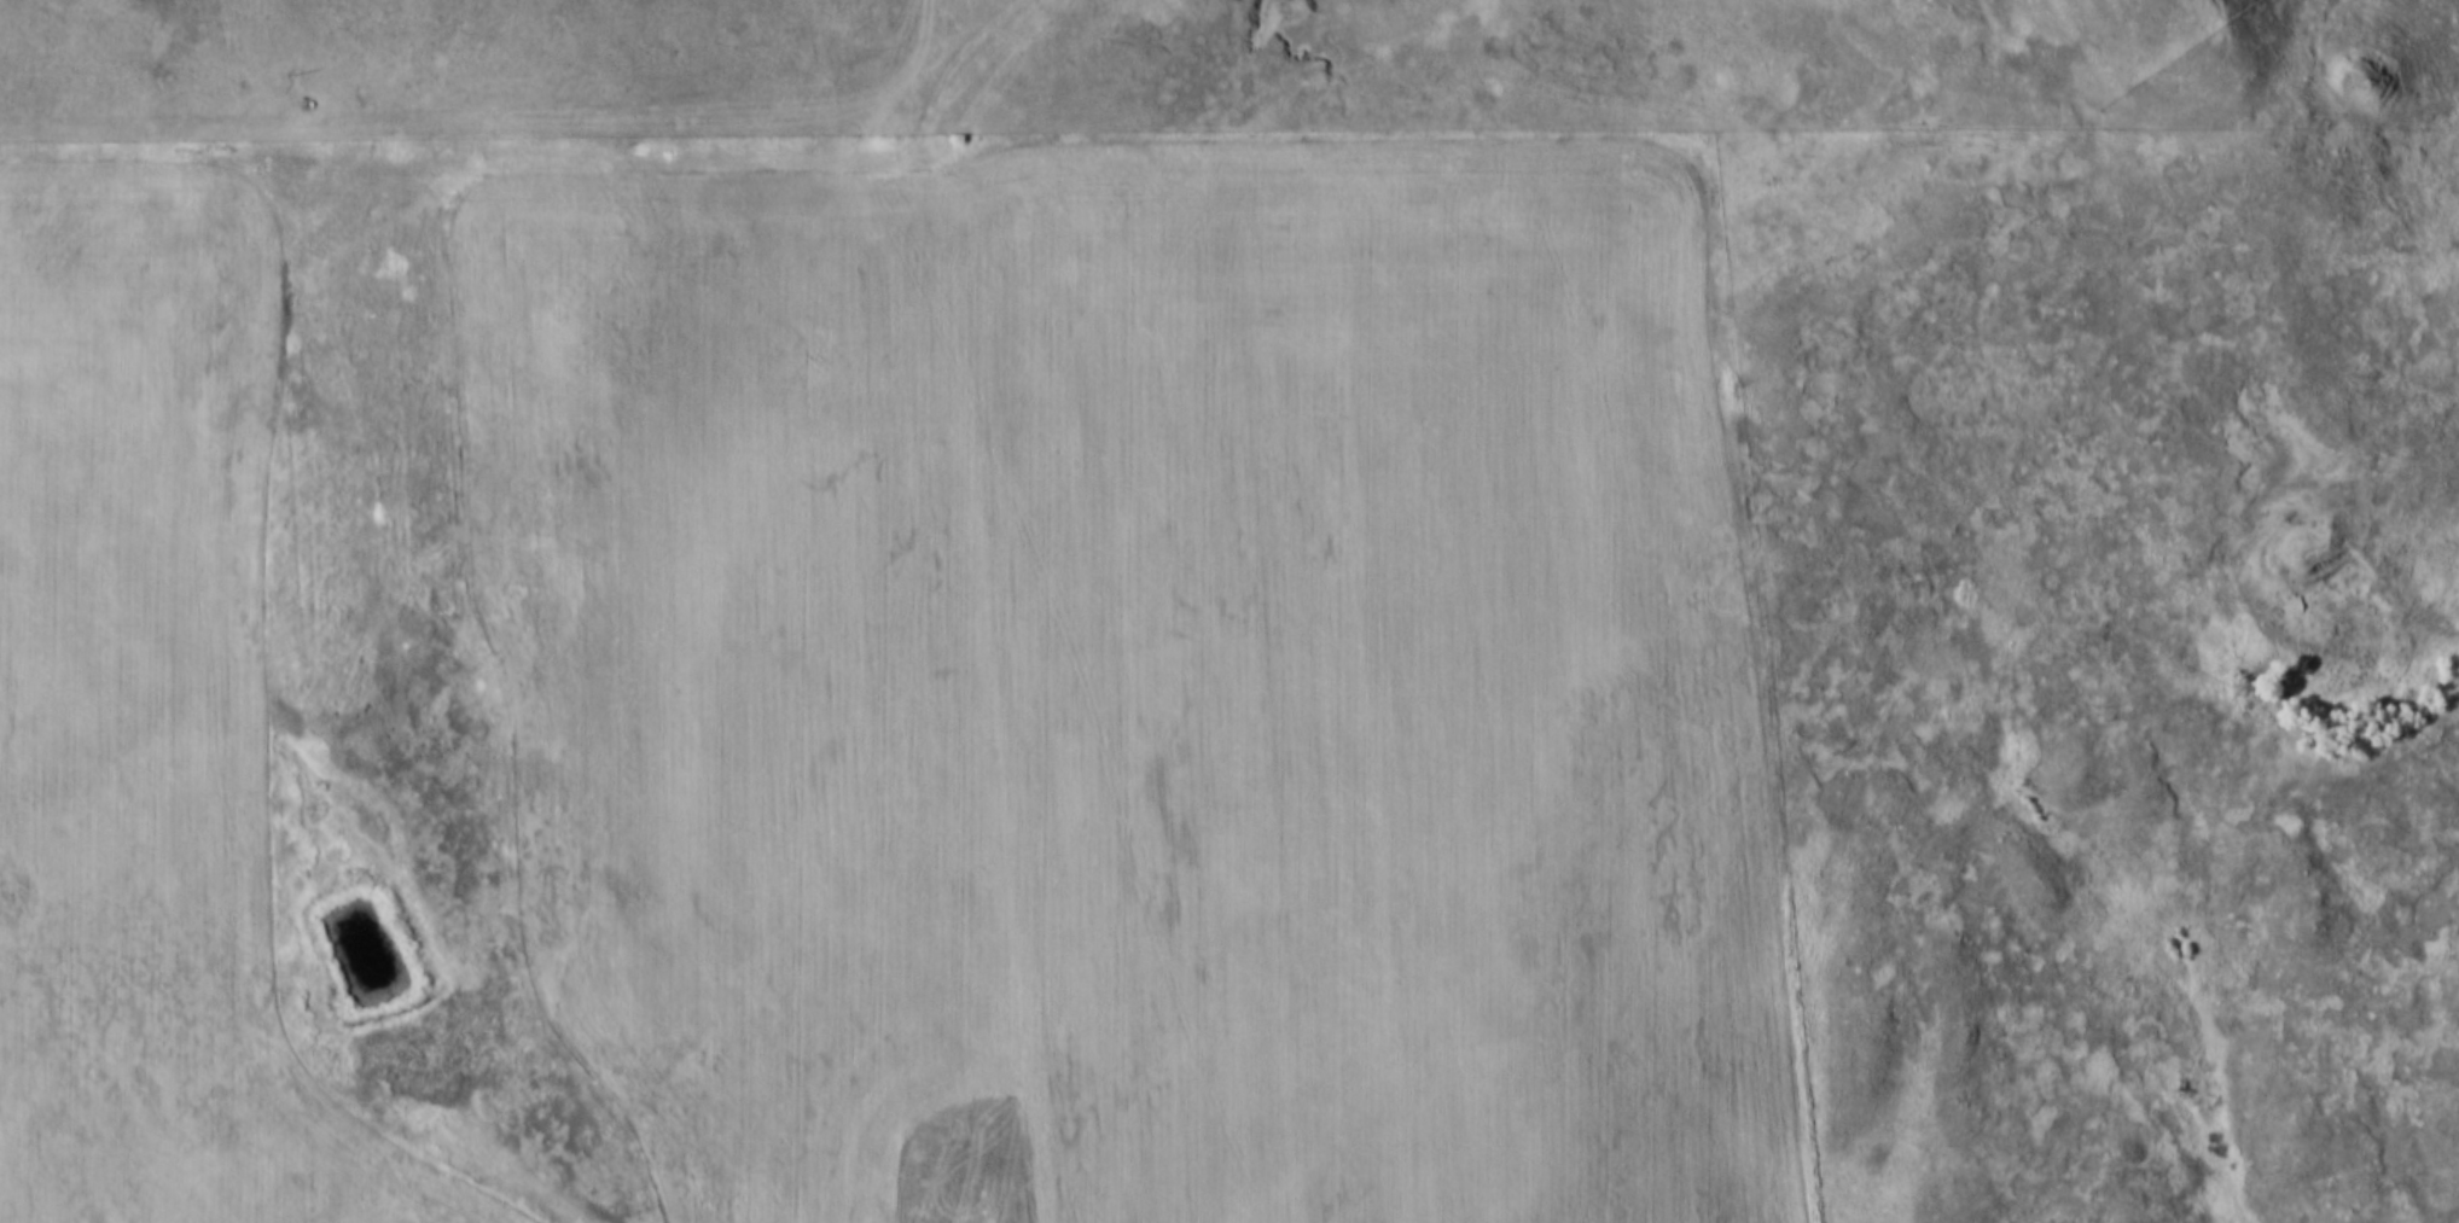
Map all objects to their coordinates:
road: (966, 589)

